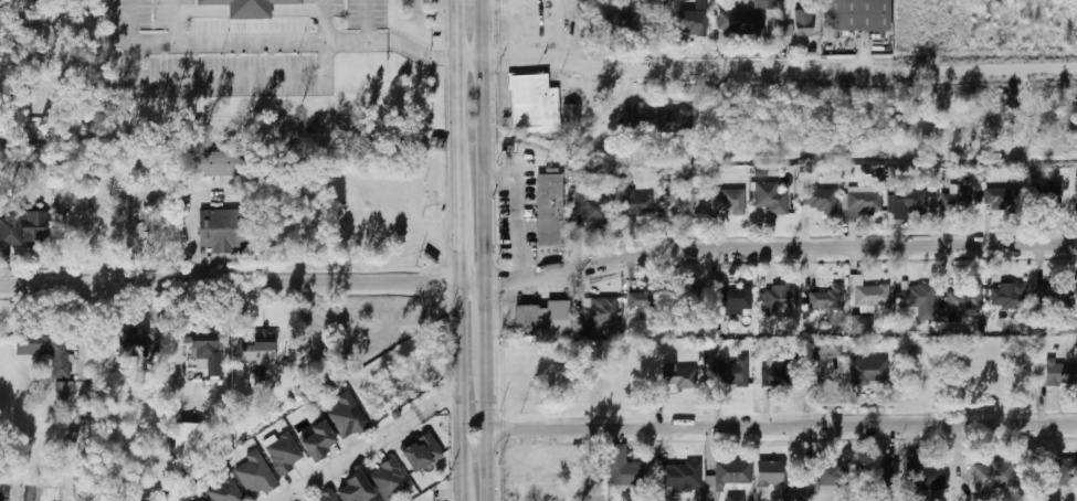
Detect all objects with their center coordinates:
building: (765, 4)
building: (247, 8)
building: (858, 14)
building: (693, 22)
building: (742, 23)
building: (629, 25)
building: (804, 26)
road: (172, 28)
road: (324, 44)
road: (767, 67)
road: (458, 98)
building: (535, 104)
building: (637, 113)
building: (572, 116)
building: (675, 119)
road: (486, 140)
building: (217, 164)
building: (1076, 191)
building: (774, 198)
building: (866, 199)
building: (1004, 199)
building: (821, 200)
building: (909, 200)
building: (955, 200)
building: (728, 202)
building: (682, 204)
building: (590, 205)
building: (637, 205)
building: (550, 210)
building: (83, 211)
road: (518, 214)
building: (23, 228)
building: (119, 230)
building: (219, 231)
road: (460, 239)
road: (539, 273)
building: (1052, 292)
building: (870, 294)
building: (918, 296)
building: (1009, 296)
building: (782, 298)
building: (965, 298)
building: (736, 299)
building: (693, 300)
building: (826, 300)
building: (646, 305)
building: (601, 310)
building: (528, 315)
building: (559, 317)
road: (489, 323)
building: (862, 324)
building: (1067, 327)
building: (139, 343)
building: (203, 345)
building: (760, 345)
building: (830, 348)
building: (47, 351)
building: (257, 352)
building: (869, 371)
building: (731, 372)
building: (1062, 373)
building: (678, 375)
building: (779, 375)
road: (461, 391)
building: (62, 394)
road: (439, 402)
building: (347, 416)
road: (783, 426)
road: (490, 434)
building: (189, 439)
building: (319, 439)
building: (422, 451)
building: (284, 452)
road: (350, 458)
building: (624, 468)
building: (1066, 472)
building: (255, 473)
building: (770, 473)
building: (886, 475)
building: (926, 476)
building: (997, 476)
building: (728, 477)
building: (834, 477)
building: (678, 478)
building: (390, 479)
building: (355, 488)
building: (812, 488)
building: (225, 491)
building: (328, 497)
building: (793, 498)
building: (735, 499)
building: (200, 500)

